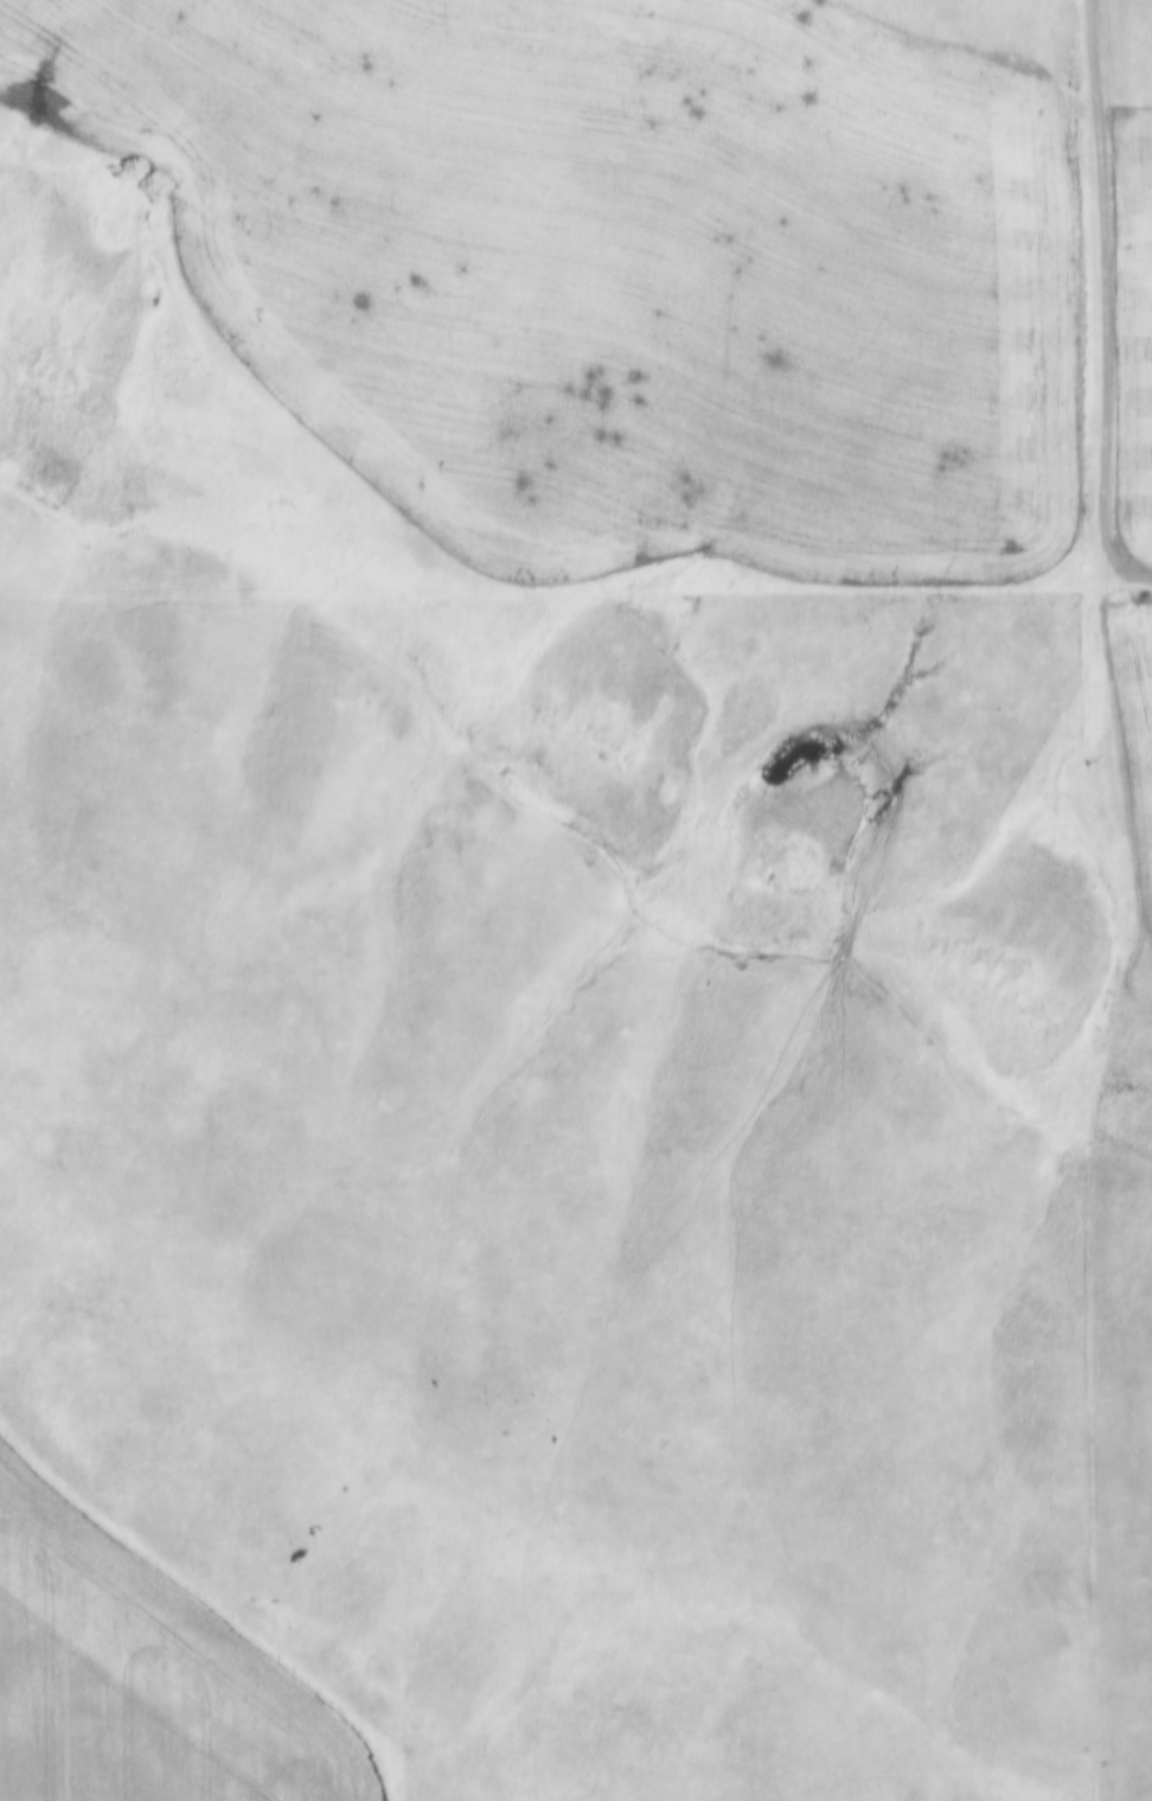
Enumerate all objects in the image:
road: (1122, 305)

